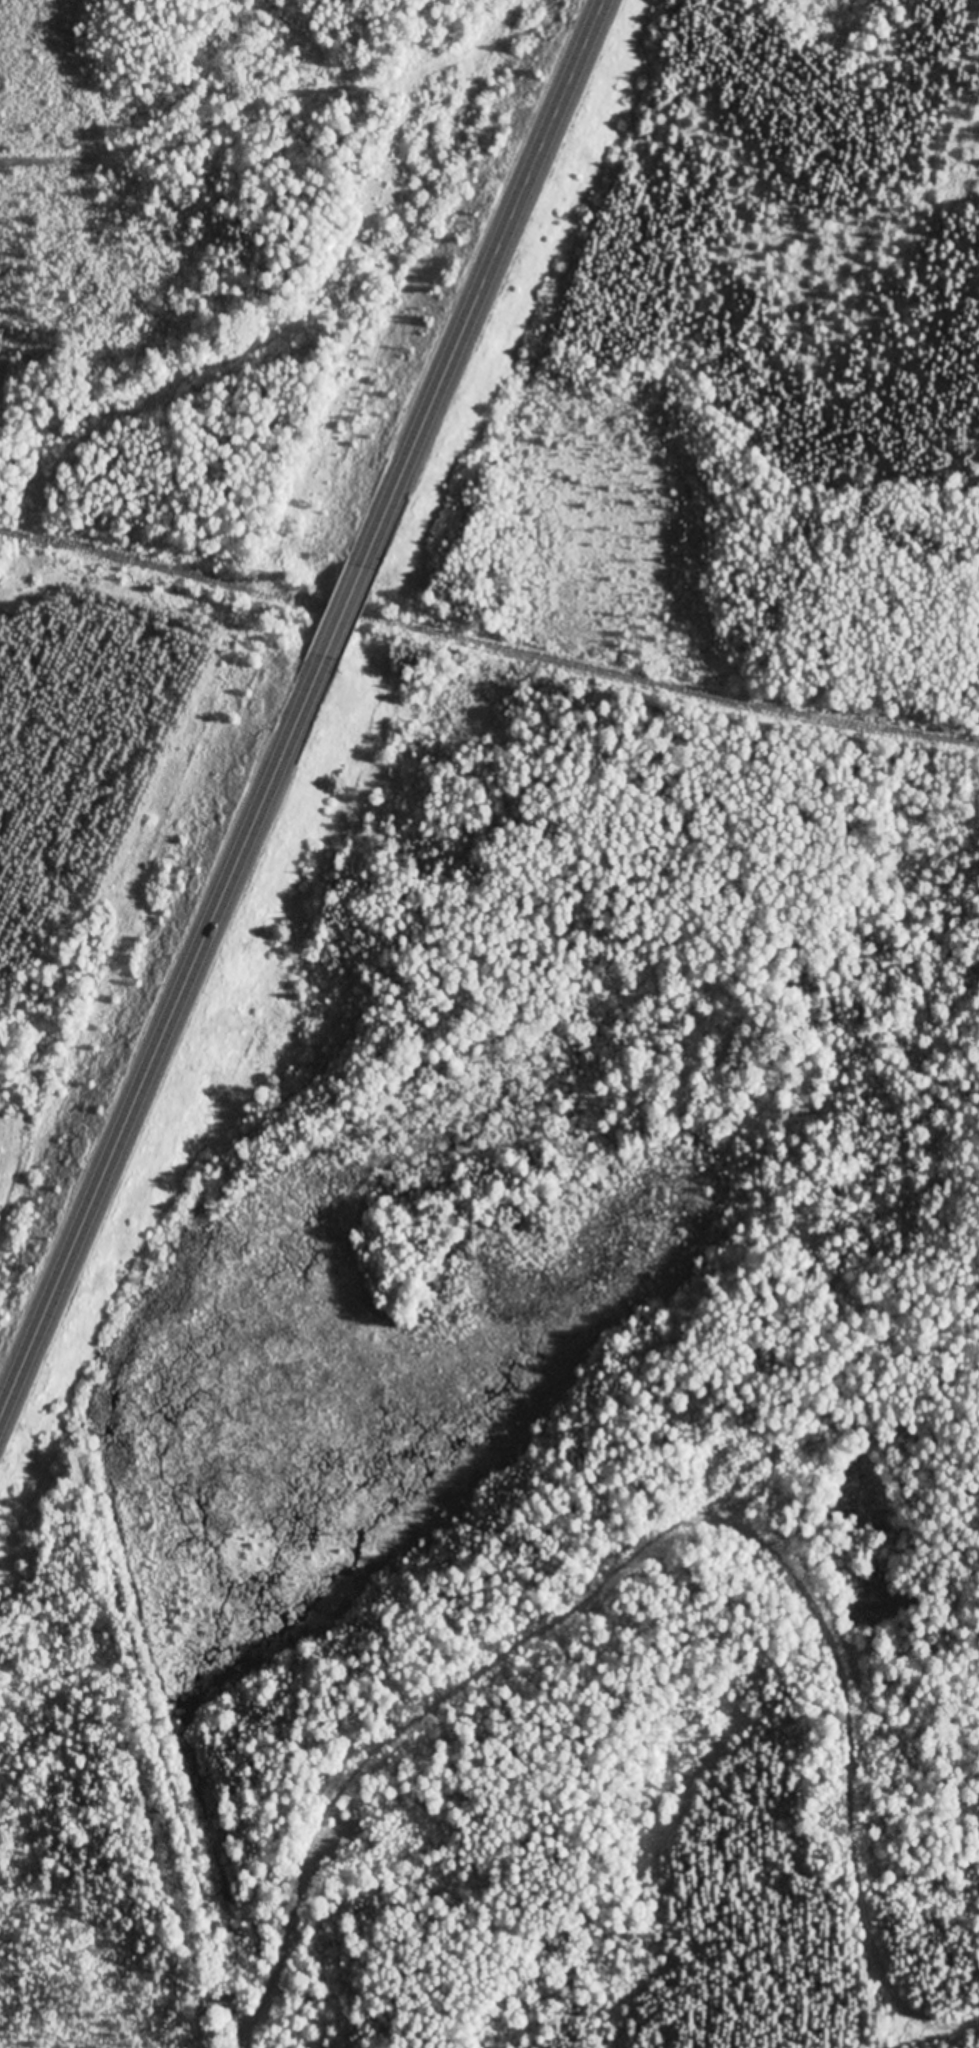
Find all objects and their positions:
road: (479, 283)
road: (338, 612)
railway: (488, 643)
road: (159, 1039)
road: (522, 1613)
road: (165, 1758)

